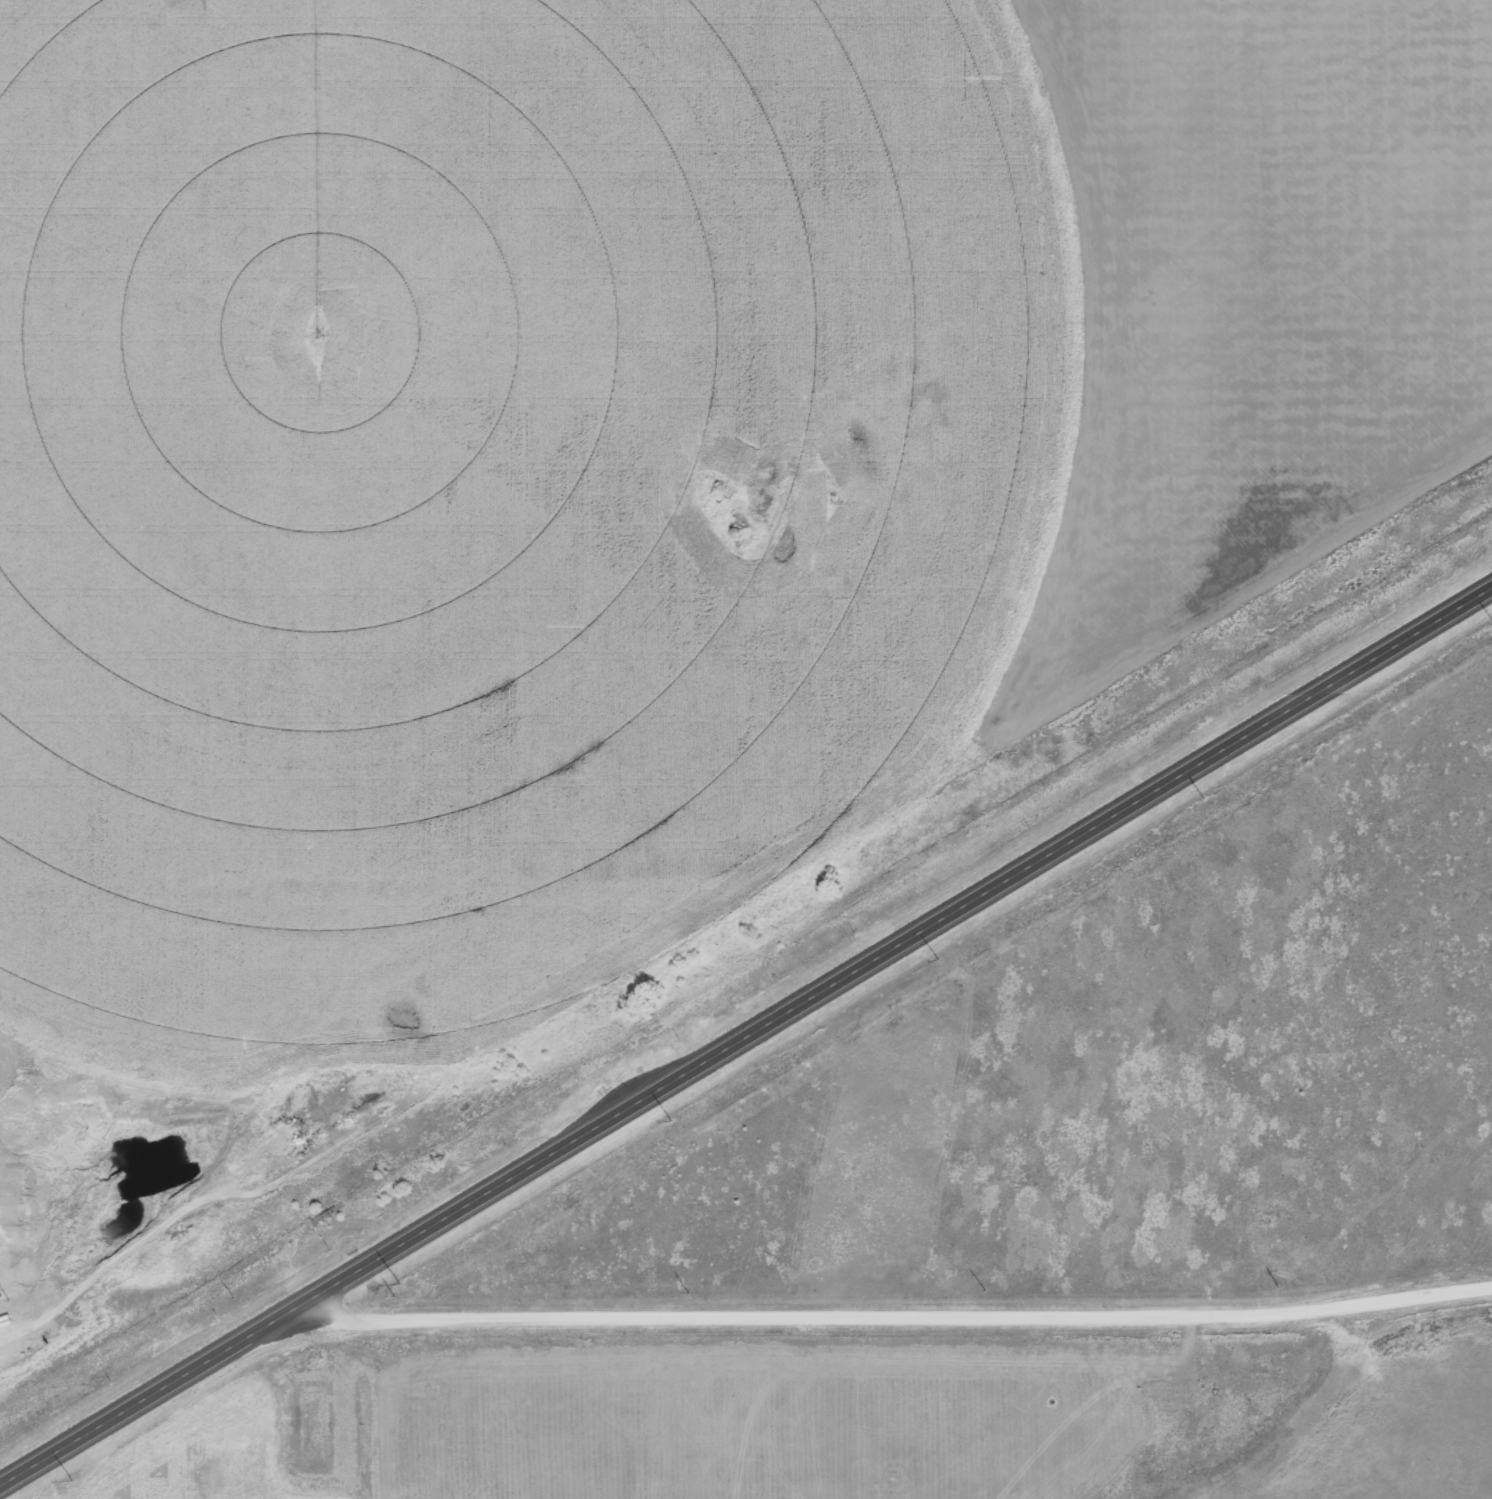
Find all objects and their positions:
power tower: (1491, 621)
power tower: (1199, 797)
power tower: (937, 958)
road: (745, 1039)
power tower: (668, 1118)
power tower: (398, 1281)
road: (892, 1313)
power tower: (69, 1480)

